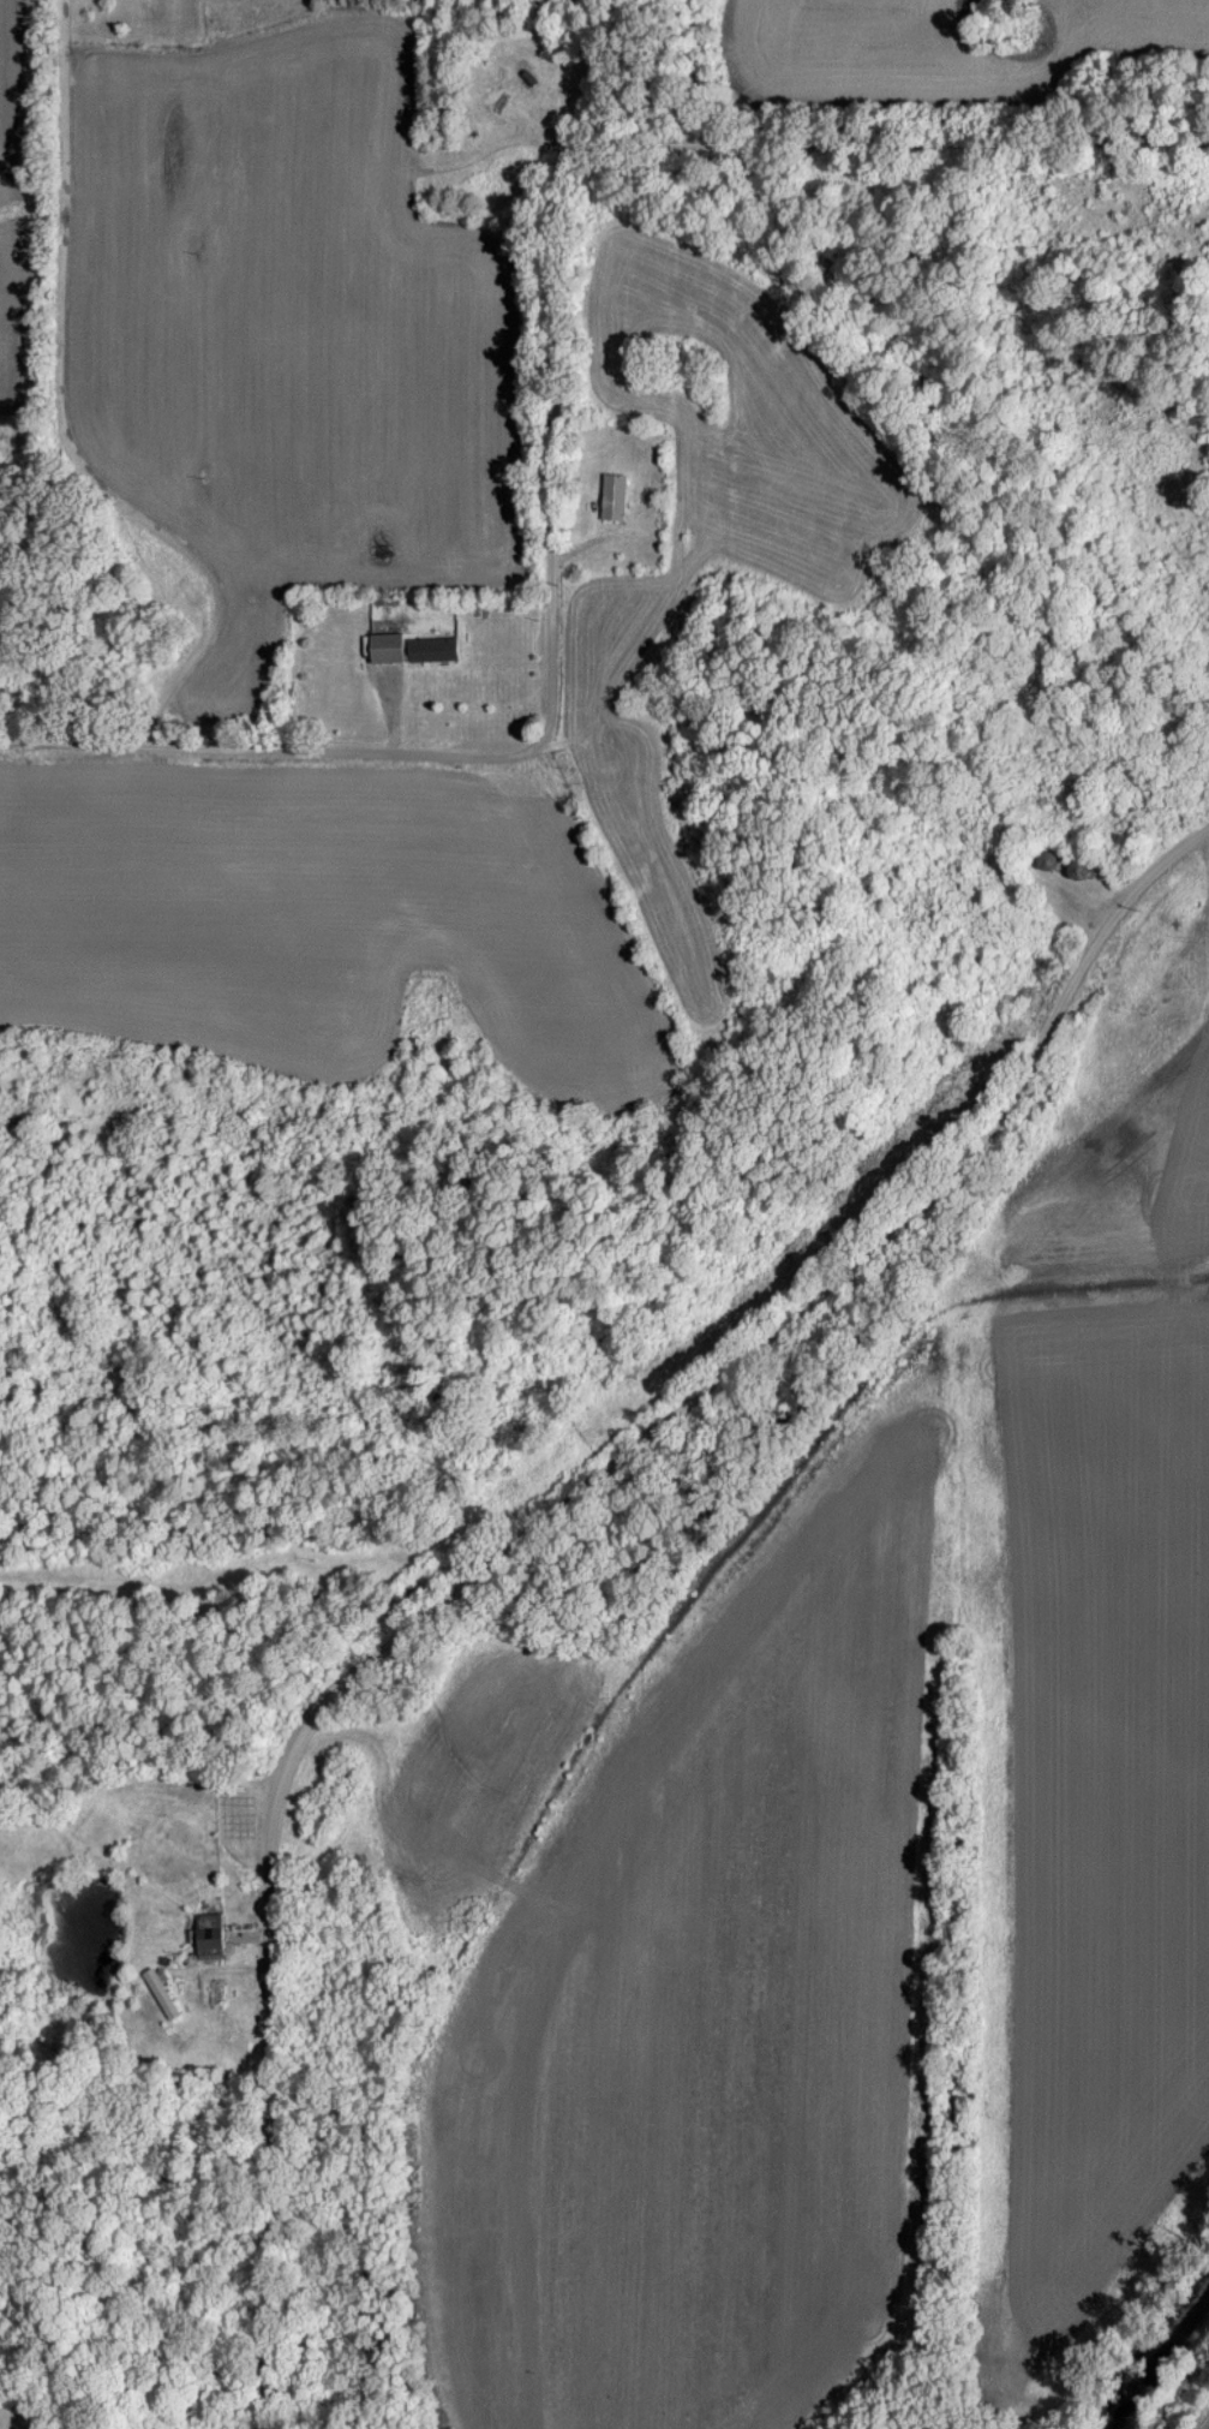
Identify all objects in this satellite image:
road: (553, 405)
building: (614, 495)
building: (382, 646)
building: (429, 649)
road: (525, 1534)

